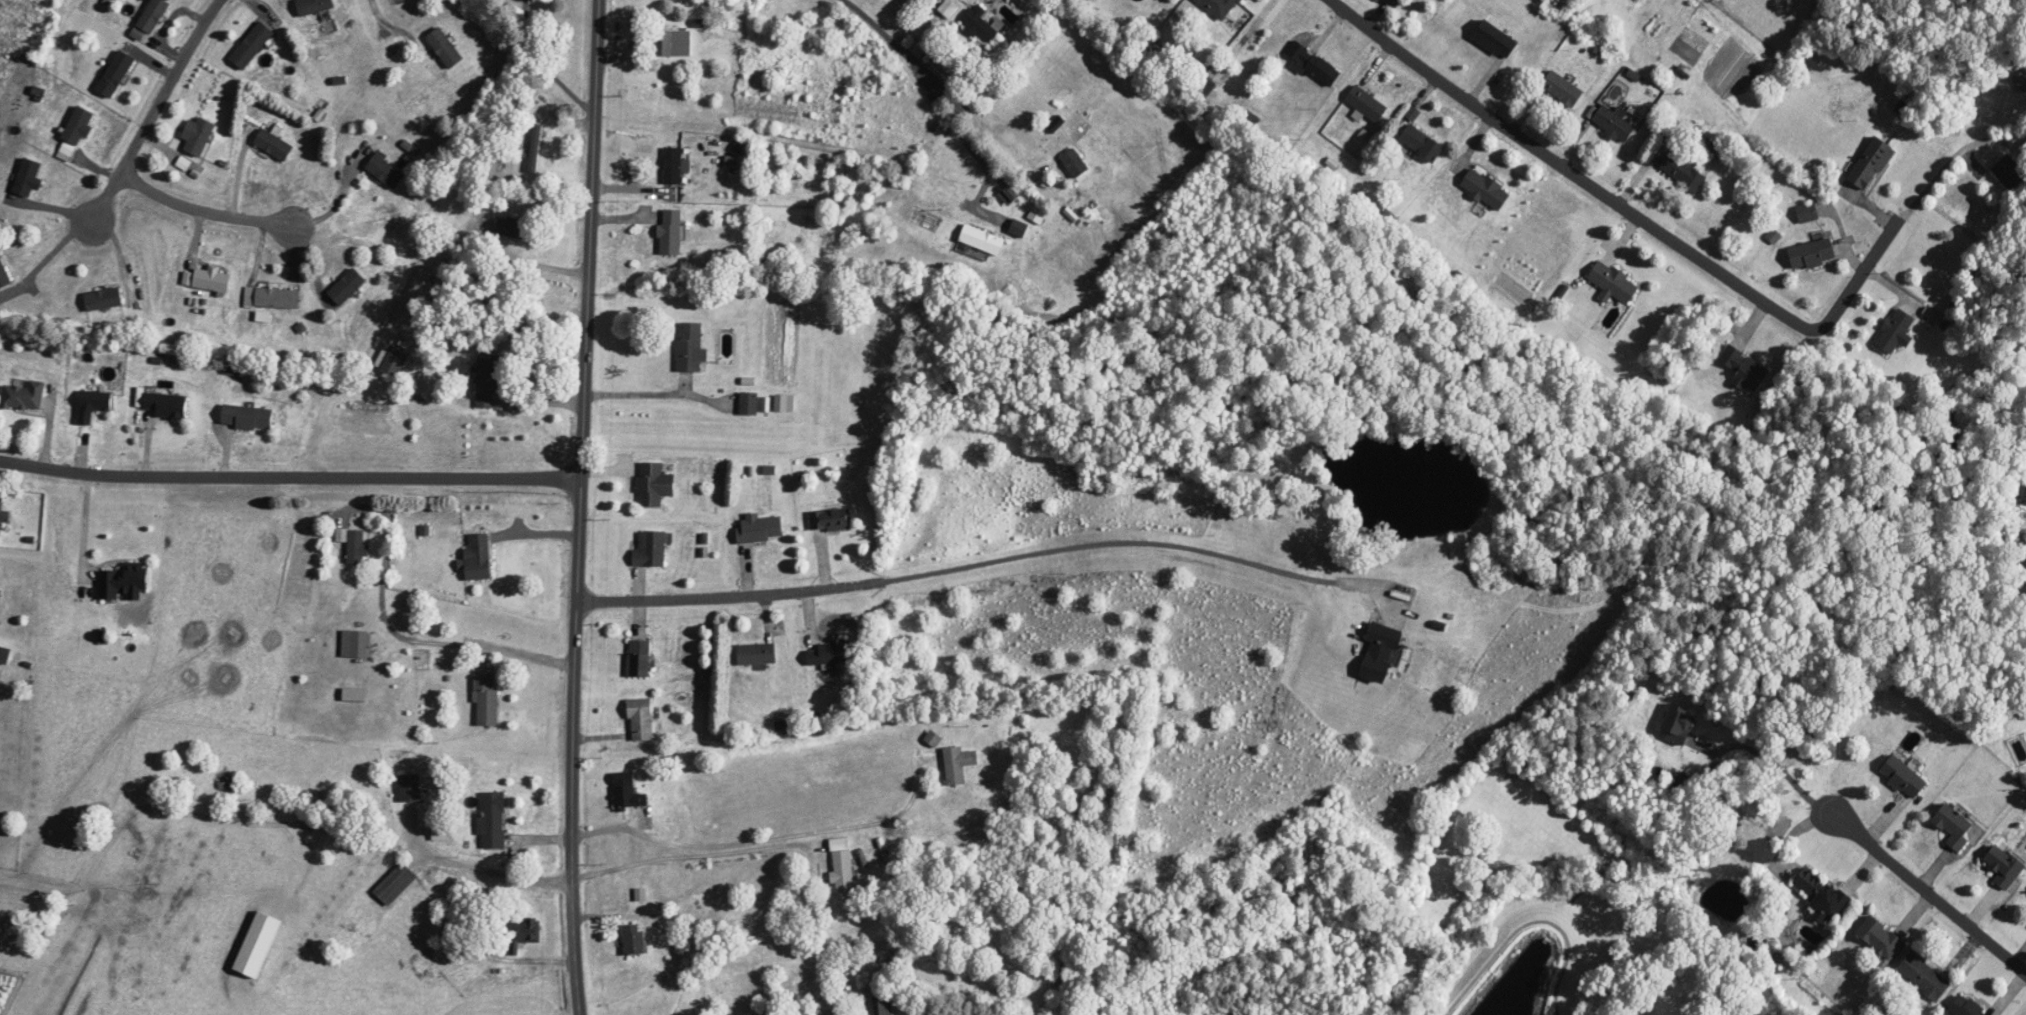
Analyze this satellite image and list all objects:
building: (314, 5)
building: (1219, 7)
building: (153, 15)
road: (380, 19)
building: (980, 23)
building: (1496, 39)
building: (677, 42)
building: (252, 44)
building: (444, 47)
building: (1312, 63)
road: (542, 64)
building: (115, 73)
building: (2021, 77)
building: (1562, 88)
road: (959, 97)
building: (1366, 103)
road: (155, 111)
building: (1614, 122)
building: (78, 126)
building: (197, 135)
building: (1421, 142)
building: (274, 144)
building: (535, 148)
building: (1871, 162)
building: (1075, 163)
building: (672, 165)
road: (987, 167)
building: (385, 170)
building: (2009, 171)
building: (1683, 172)
building: (28, 179)
building: (1486, 188)
road: (335, 202)
road: (202, 212)
building: (1807, 213)
road: (1647, 221)
building: (517, 228)
building: (670, 231)
building: (982, 239)
building: (1812, 253)
road: (45, 259)
road: (529, 262)
building: (4, 275)
building: (212, 279)
building: (1613, 283)
building: (344, 289)
building: (277, 297)
building: (103, 298)
building: (1896, 331)
building: (690, 347)
building: (394, 360)
building: (1745, 367)
building: (487, 379)
road: (660, 393)
building: (23, 396)
building: (747, 403)
building: (780, 403)
building: (93, 404)
building: (166, 405)
building: (247, 417)
road: (290, 478)
building: (654, 484)
road: (581, 507)
building: (0, 517)
building: (828, 520)
road: (85, 523)
building: (759, 528)
building: (354, 544)
building: (650, 549)
building: (478, 557)
road: (982, 564)
building: (121, 580)
road: (404, 638)
building: (354, 643)
building: (830, 652)
building: (1381, 652)
building: (757, 653)
building: (639, 657)
building: (486, 700)
building: (641, 719)
building: (1679, 723)
building: (958, 764)
road: (1779, 768)
building: (1903, 777)
building: (409, 788)
building: (627, 792)
building: (492, 819)
building: (1955, 826)
building: (437, 832)
road: (764, 838)
road: (698, 856)
building: (842, 864)
building: (2004, 866)
road: (493, 869)
building: (395, 884)
road: (1929, 894)
building: (1821, 895)
road: (1529, 924)
building: (524, 931)
building: (1879, 937)
building: (634, 939)
building: (429, 969)
building: (1924, 976)
building: (465, 983)
building: (882, 1004)
building: (1965, 1008)

